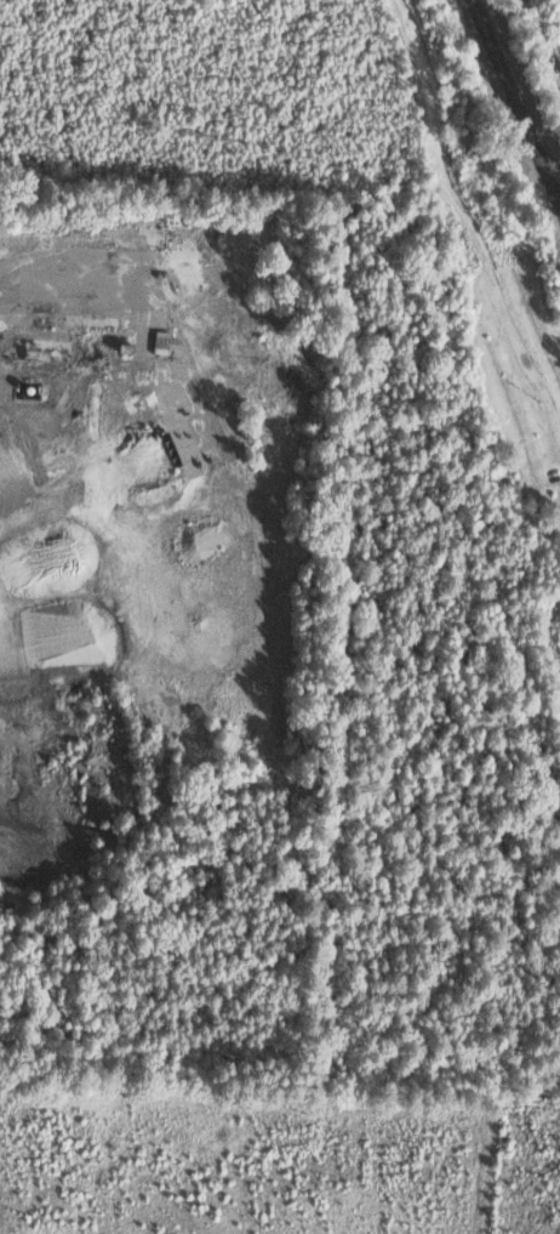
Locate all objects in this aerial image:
road: (543, 38)
railway: (515, 101)
road: (468, 222)

